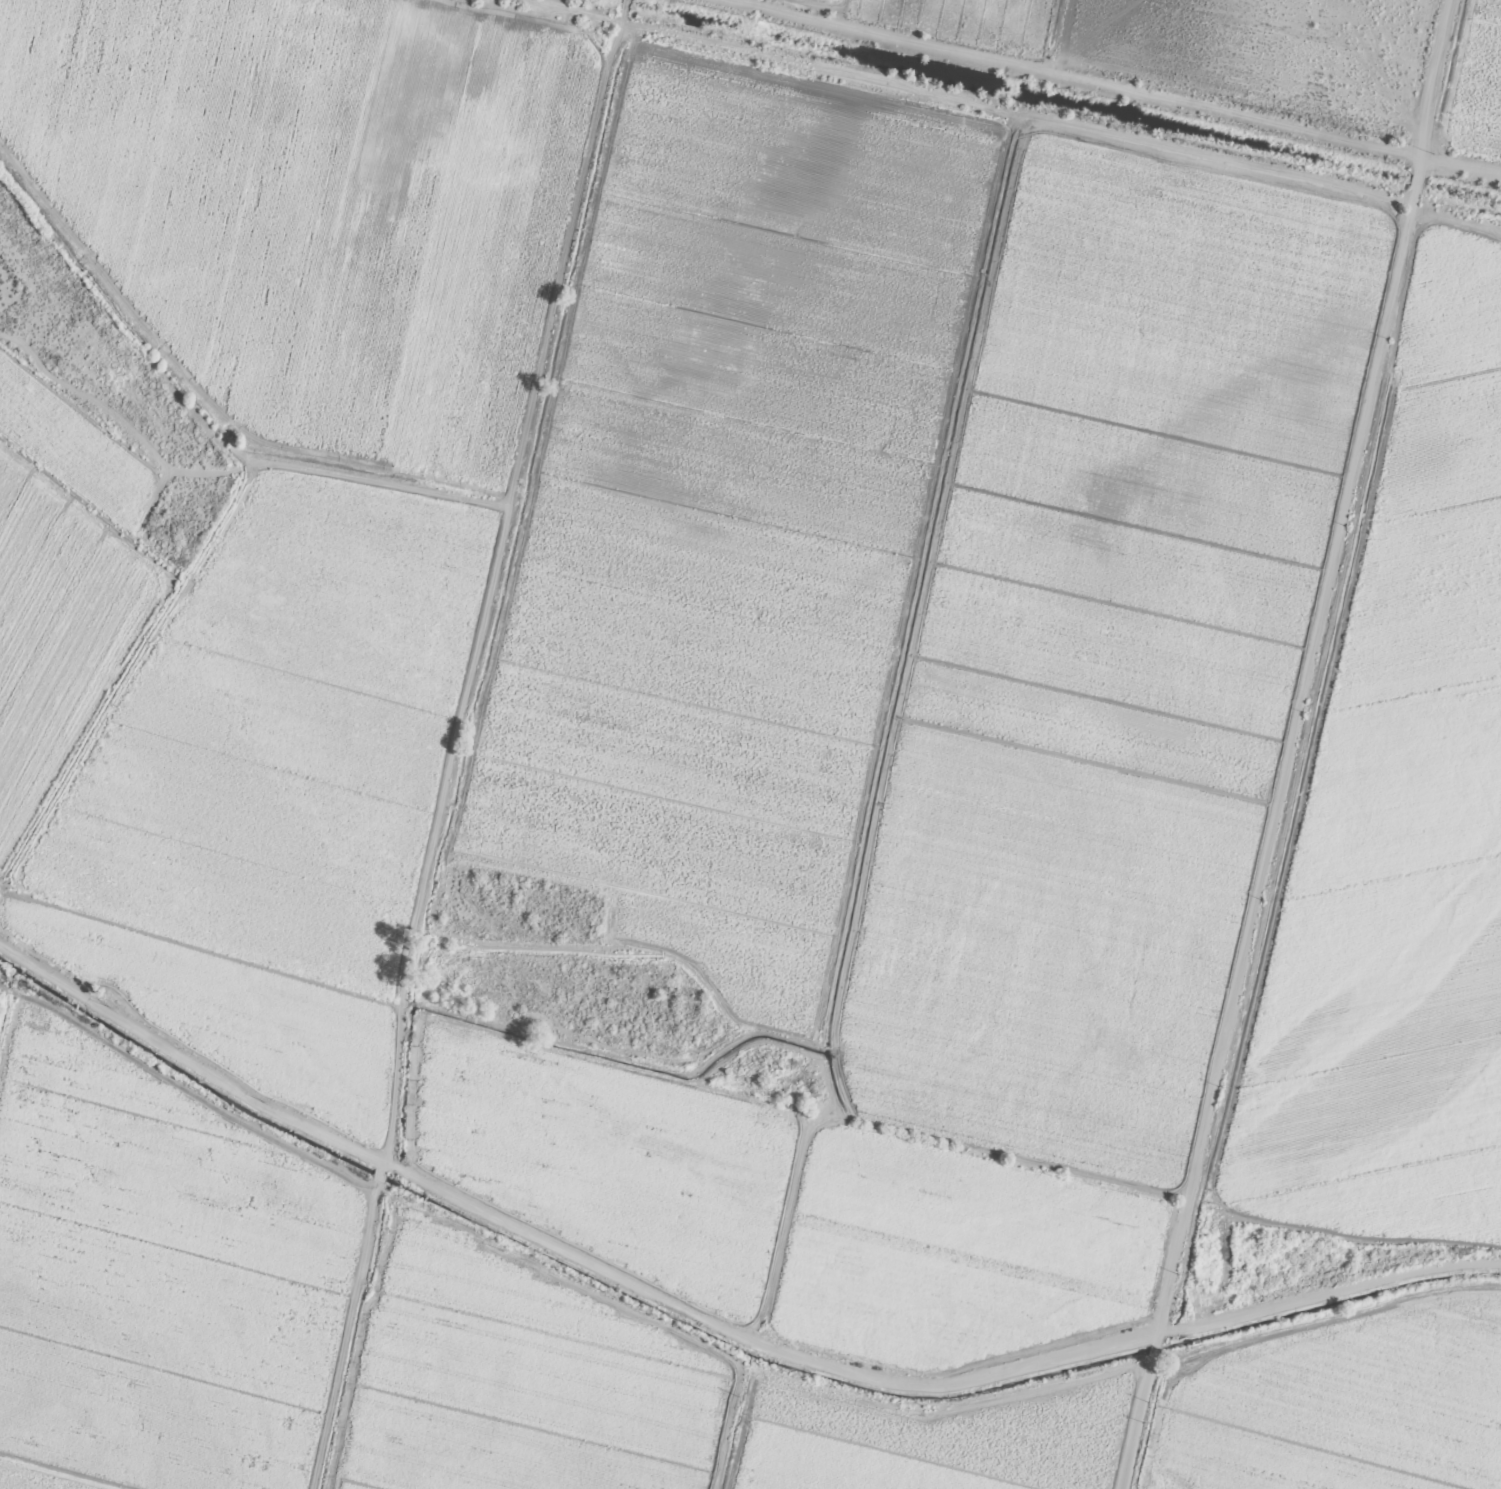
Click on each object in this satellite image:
road: (1289, 744)

